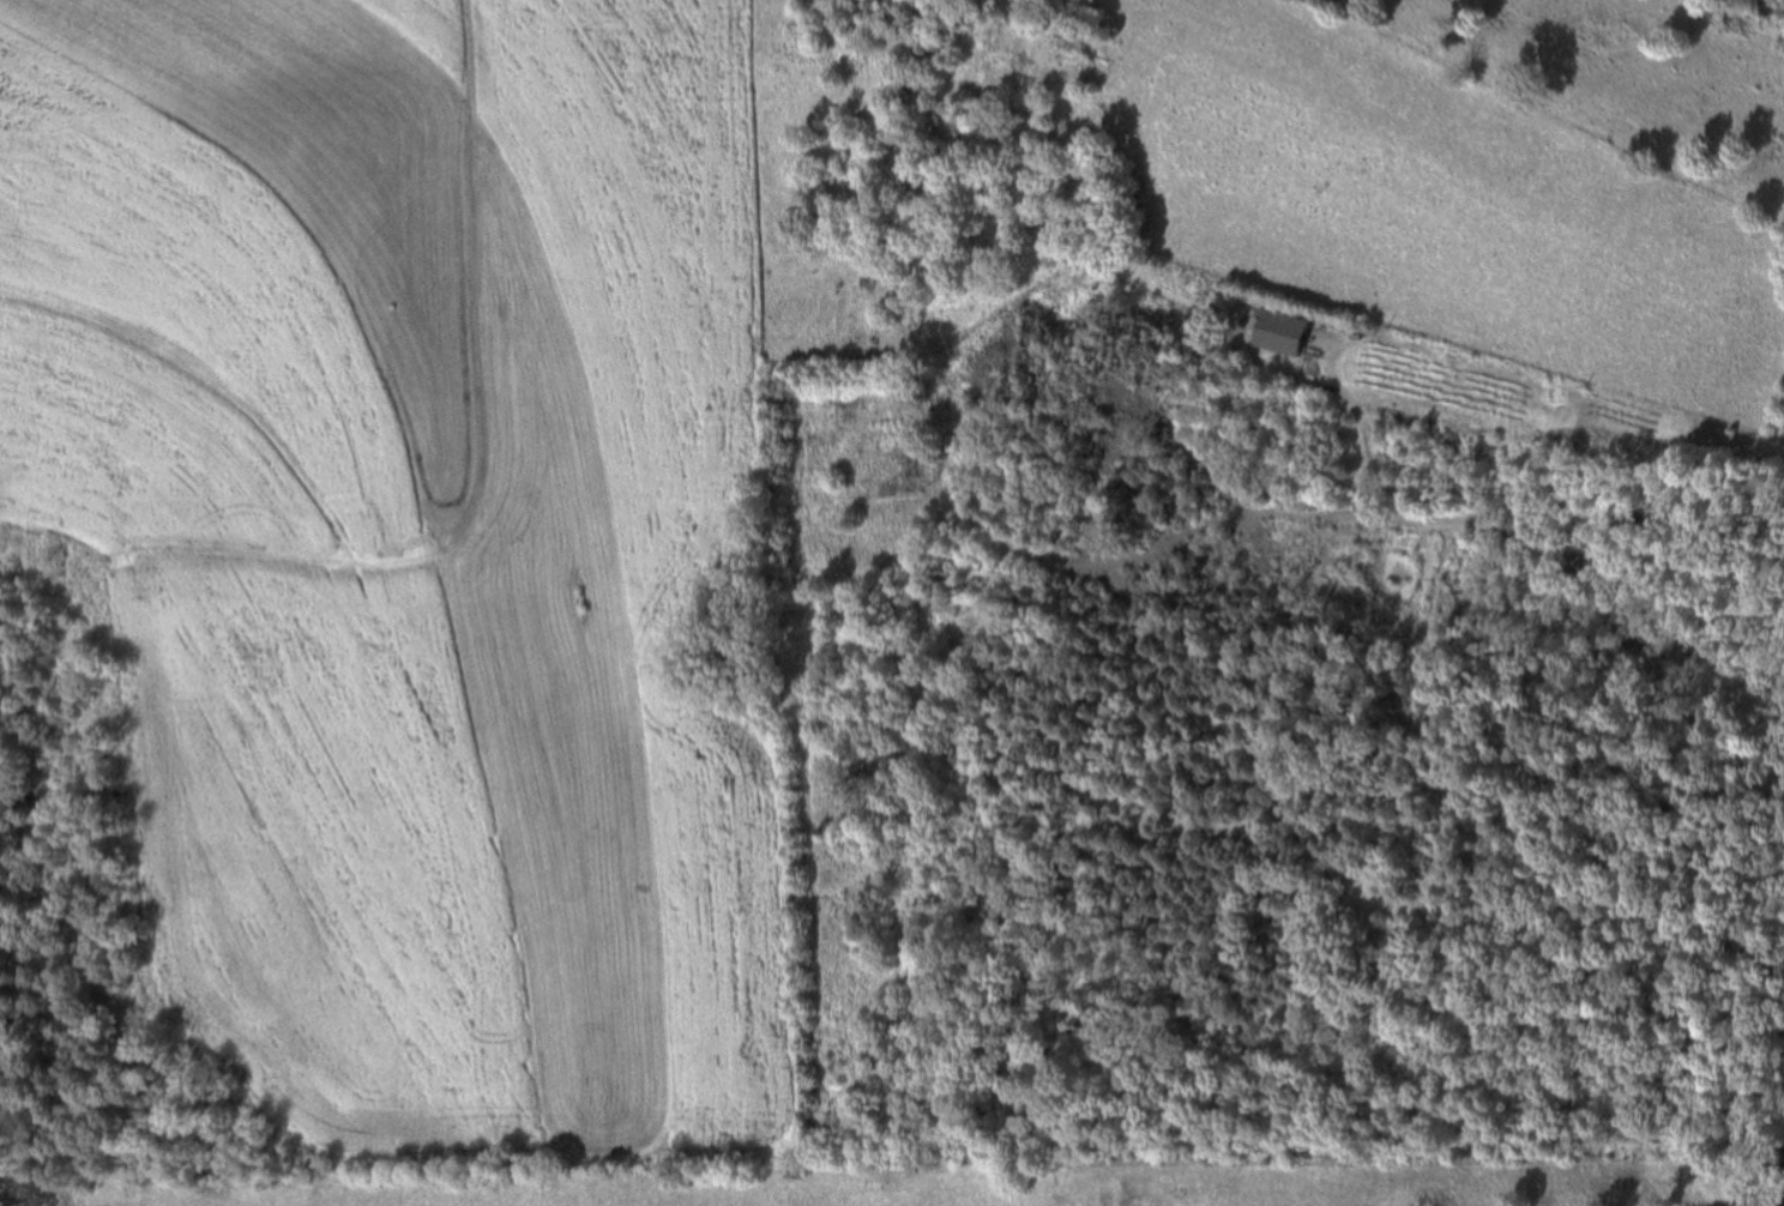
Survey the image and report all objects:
building: (1274, 332)
mineshaft: (1108, 433)
road: (474, 503)
road: (1508, 529)
road: (1141, 561)

